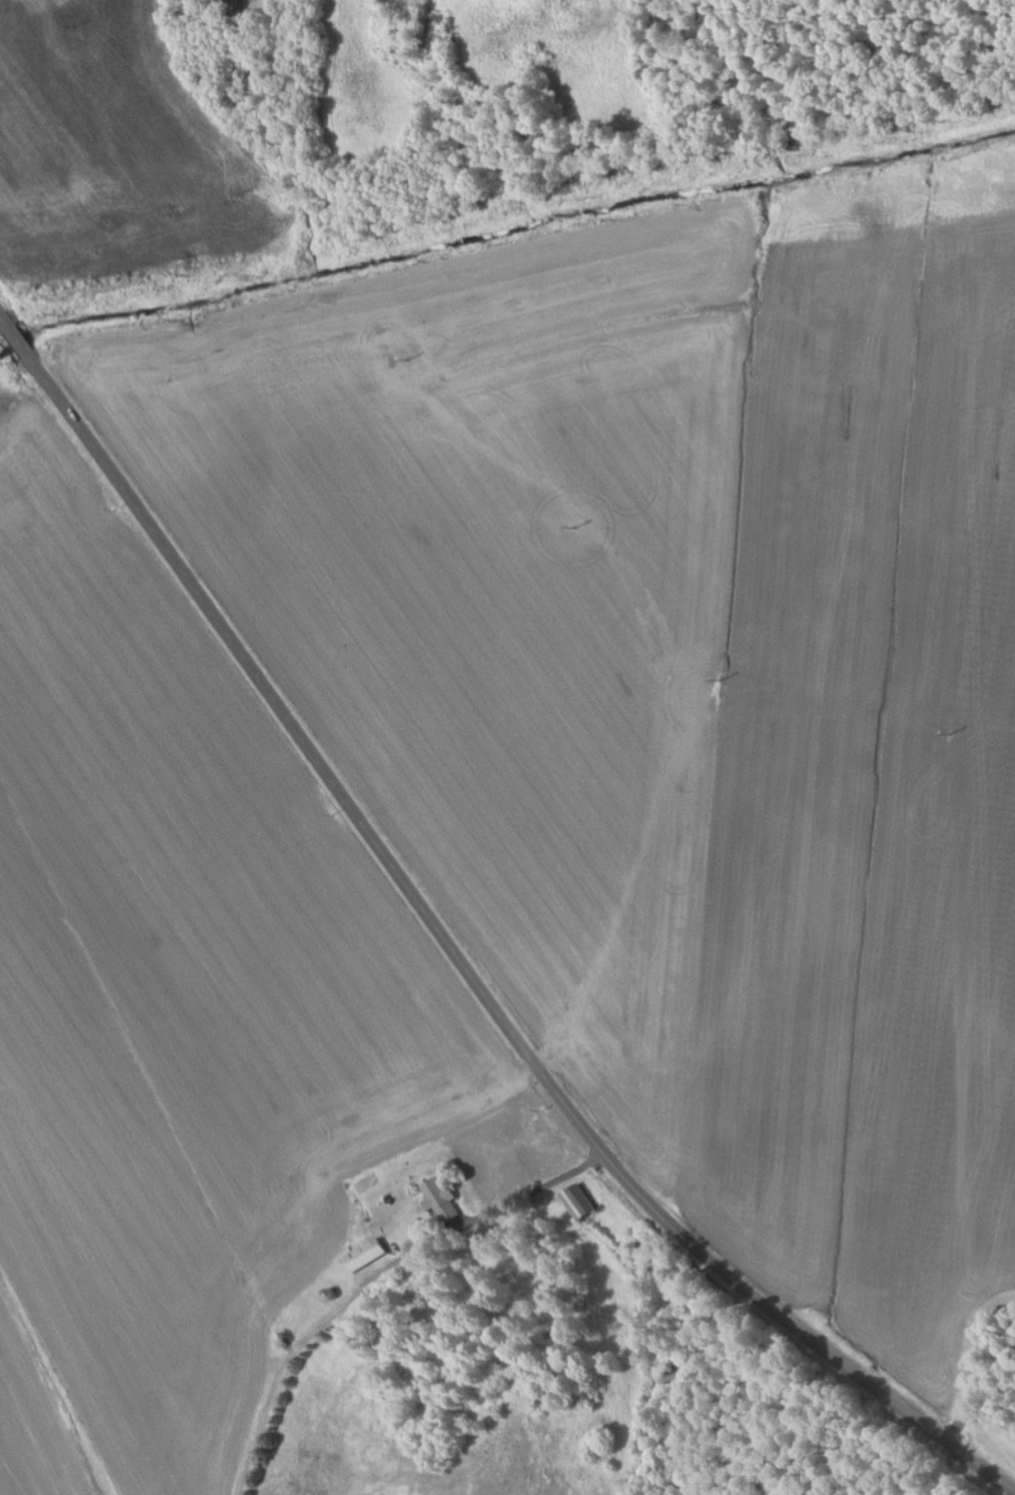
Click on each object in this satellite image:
road: (414, 6)
road: (390, 856)
road: (517, 1199)
building: (581, 1203)
building: (367, 1255)
road: (926, 1414)

